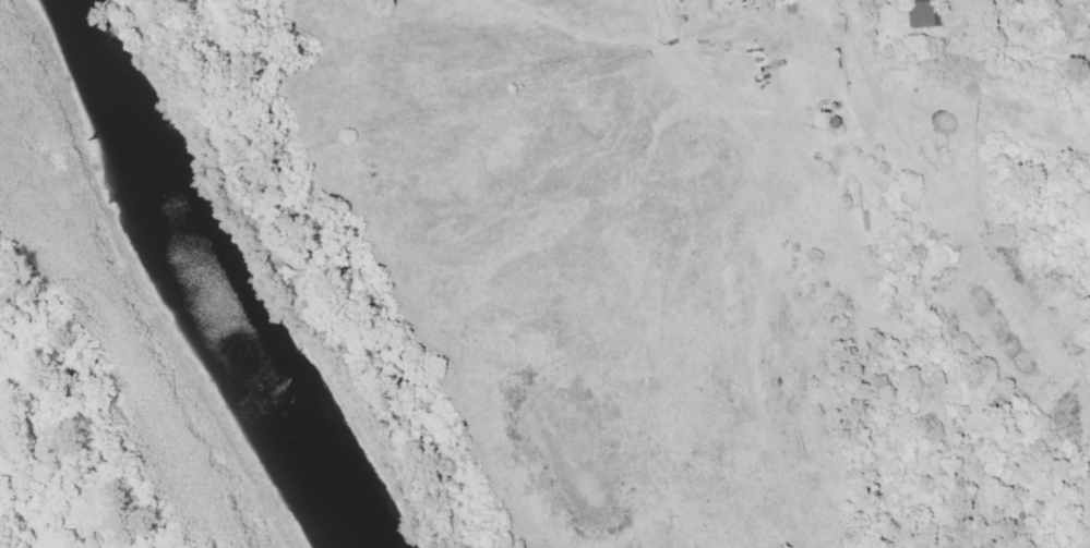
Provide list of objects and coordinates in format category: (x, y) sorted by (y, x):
building: (927, 13)
road: (782, 34)
road: (540, 233)

